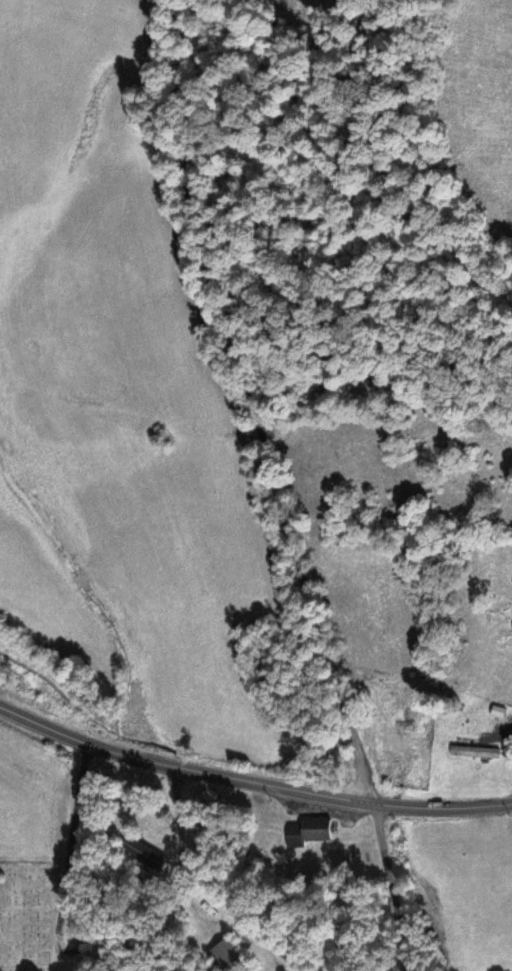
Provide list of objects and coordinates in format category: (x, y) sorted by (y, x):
road: (212, 413)
building: (475, 752)
road: (252, 776)
building: (308, 832)
building: (137, 850)
road: (319, 878)
building: (227, 956)

